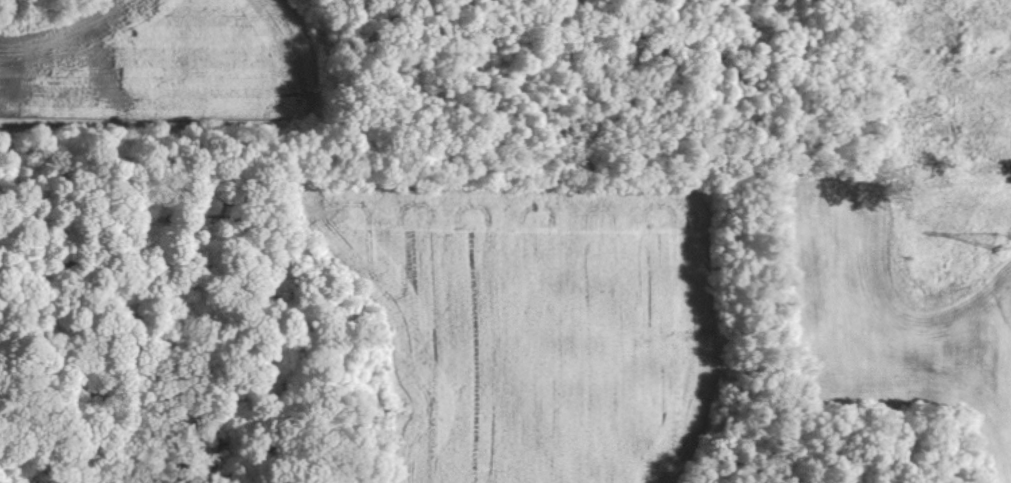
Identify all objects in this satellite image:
power tower: (1000, 238)

